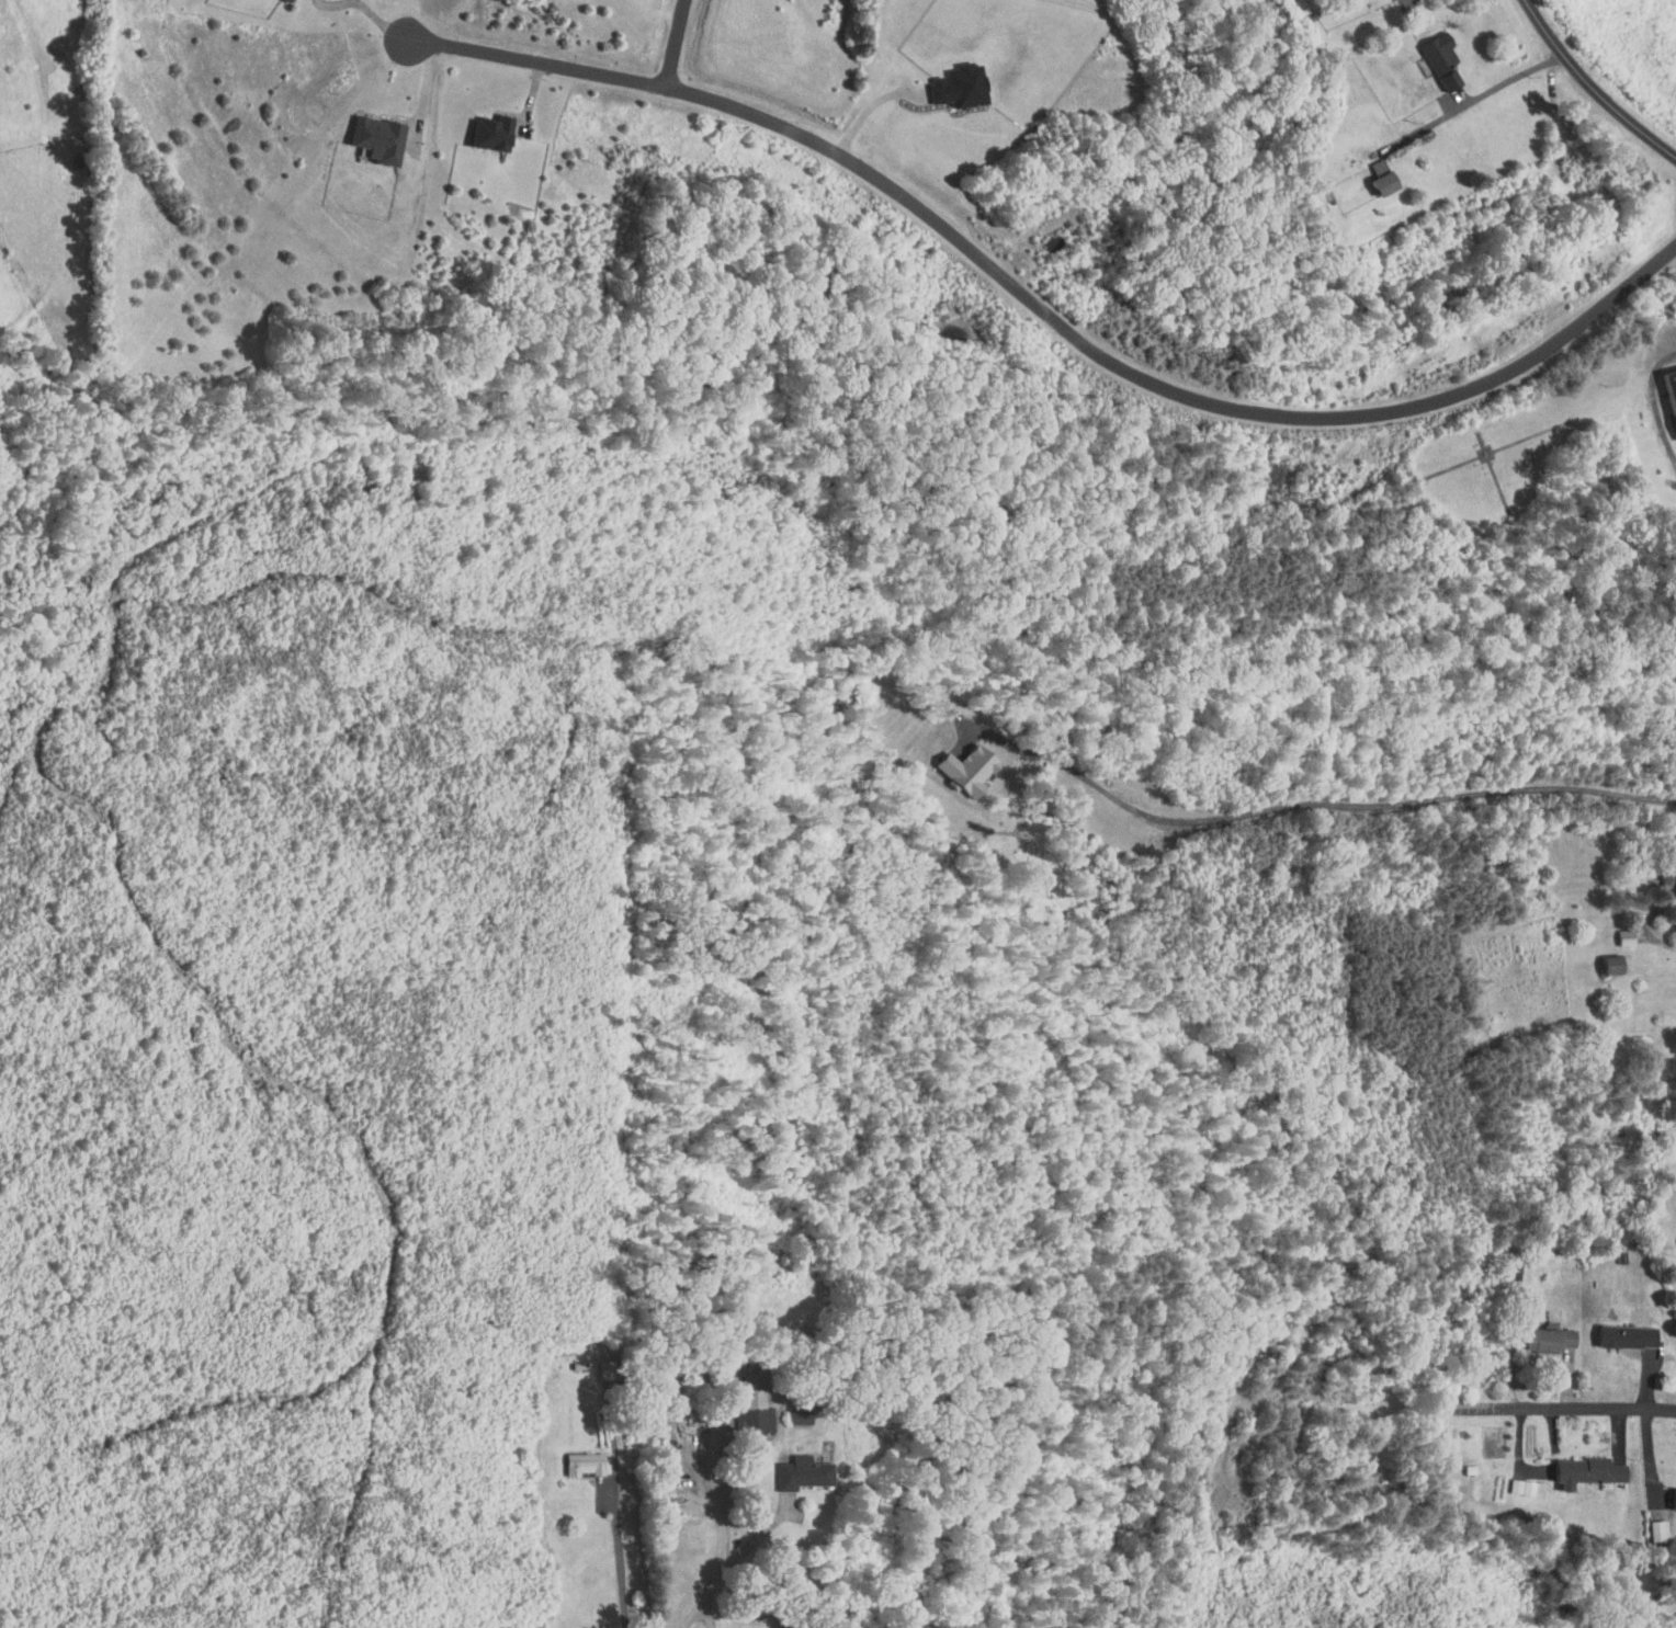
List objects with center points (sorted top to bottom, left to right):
road: (360, 2)
road: (340, 4)
road: (386, 24)
road: (676, 45)
building: (1430, 53)
building: (947, 78)
road: (1508, 81)
road: (1592, 87)
road: (423, 96)
road: (870, 105)
building: (479, 125)
building: (365, 132)
building: (1371, 170)
road: (1046, 317)
building: (1667, 391)
road: (1654, 401)
building: (958, 762)
road: (1326, 797)
building: (1665, 874)
road: (1649, 924)
building: (1615, 931)
building: (1601, 958)
building: (1617, 1330)
building: (1538, 1333)
building: (743, 1400)
road: (1566, 1408)
building: (788, 1410)
building: (573, 1458)
building: (1576, 1465)
building: (791, 1467)
building: (1511, 1481)
building: (1668, 1491)
road: (727, 1514)
building: (1645, 1524)
road: (622, 1557)
road: (732, 1566)
road: (709, 1615)

